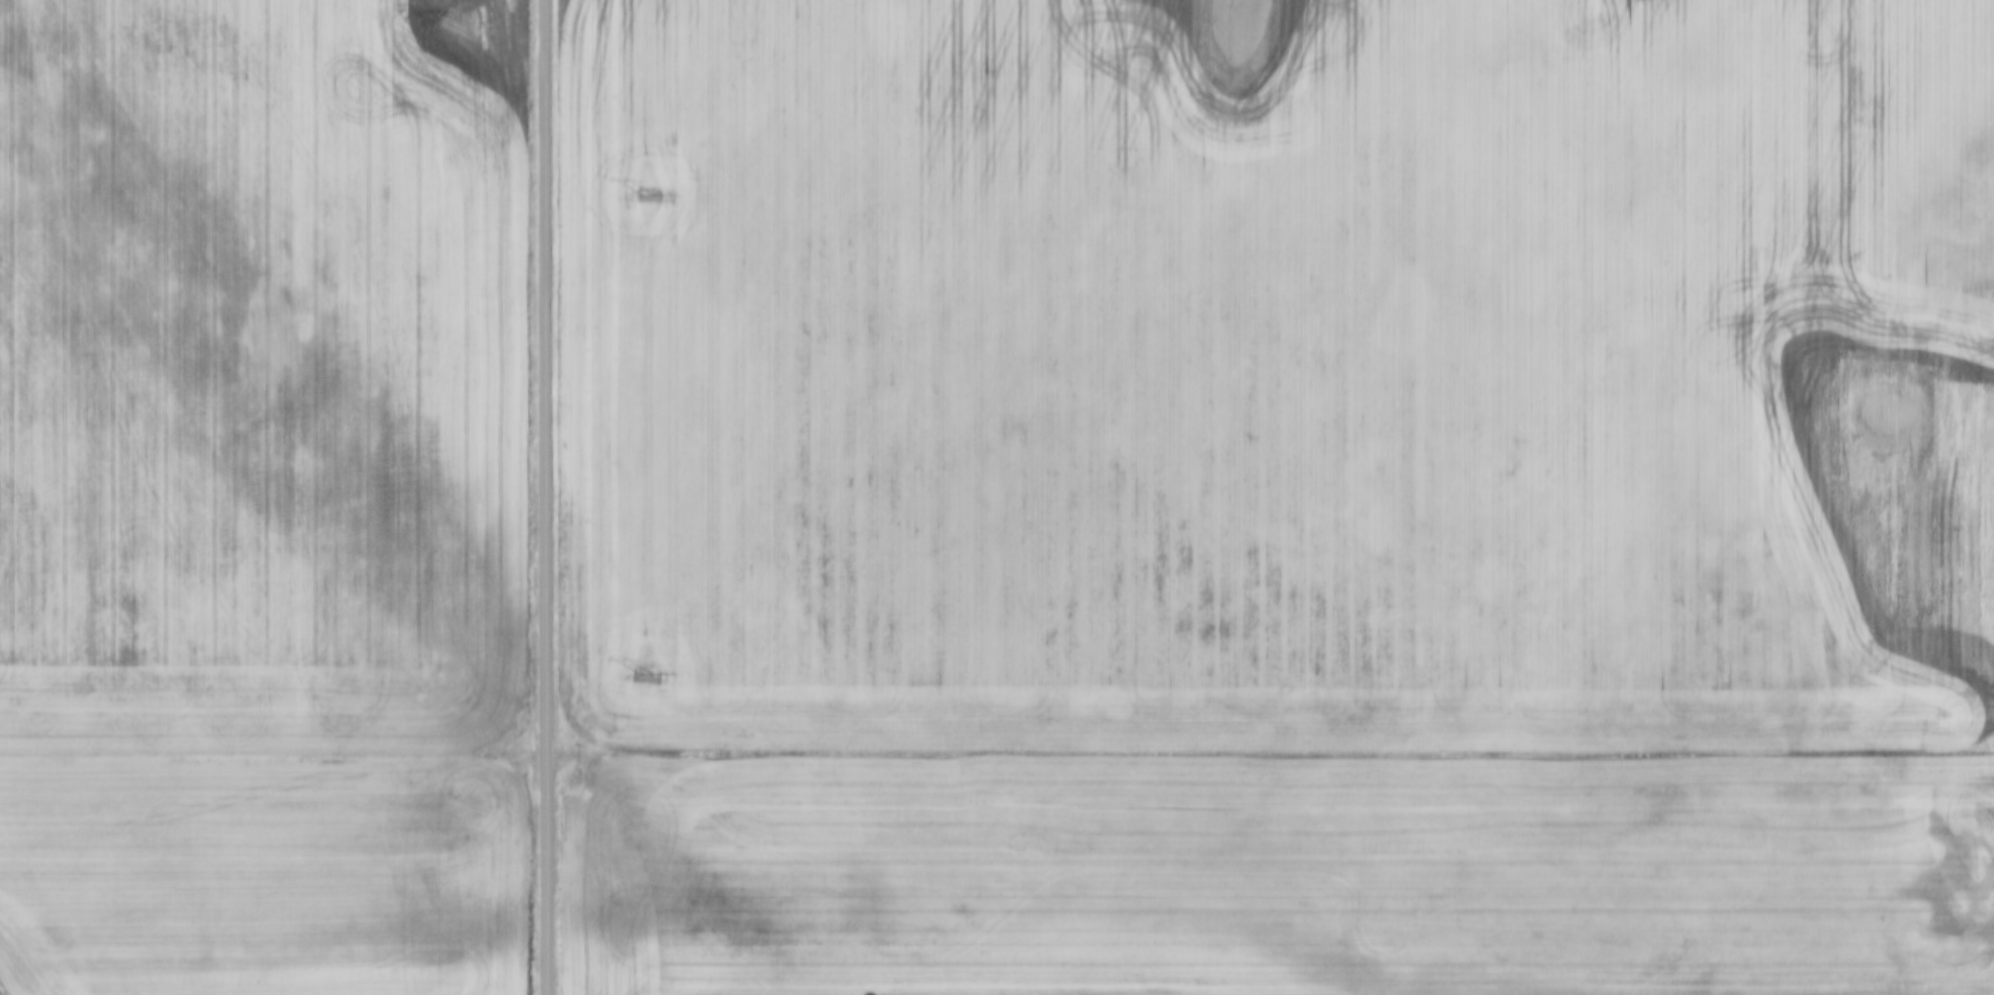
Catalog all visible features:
power tower: (645, 196)
road: (546, 497)
power tower: (644, 675)

